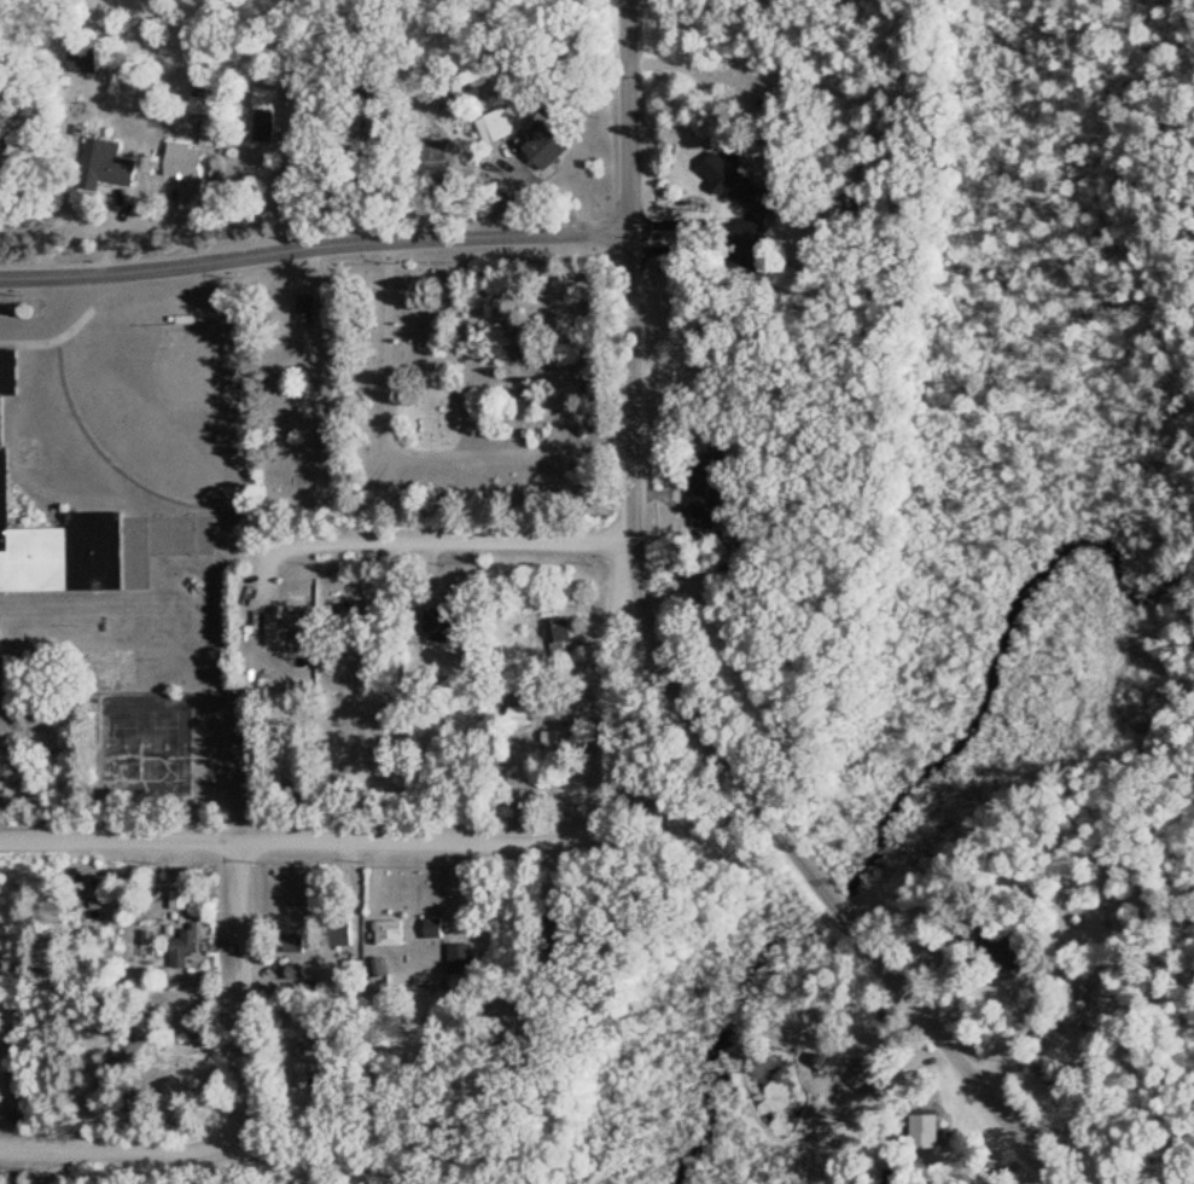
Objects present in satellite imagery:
building: (205, 98)
building: (266, 112)
road: (629, 115)
building: (548, 141)
building: (184, 157)
building: (112, 162)
road: (315, 248)
building: (776, 268)
building: (698, 364)
park: (438, 385)
road: (479, 449)
building: (5, 458)
building: (720, 464)
road: (445, 541)
building: (356, 605)
building: (289, 620)
building: (563, 634)
building: (523, 713)
building: (559, 741)
road: (718, 751)
road: (421, 842)
building: (182, 898)
building: (437, 927)
building: (396, 929)
building: (345, 930)
building: (298, 939)
building: (187, 948)
building: (465, 956)
building: (353, 968)
road: (243, 996)
building: (1047, 1009)
building: (525, 1017)
building: (133, 1046)
building: (305, 1062)
building: (864, 1072)
building: (928, 1128)
road: (110, 1147)

